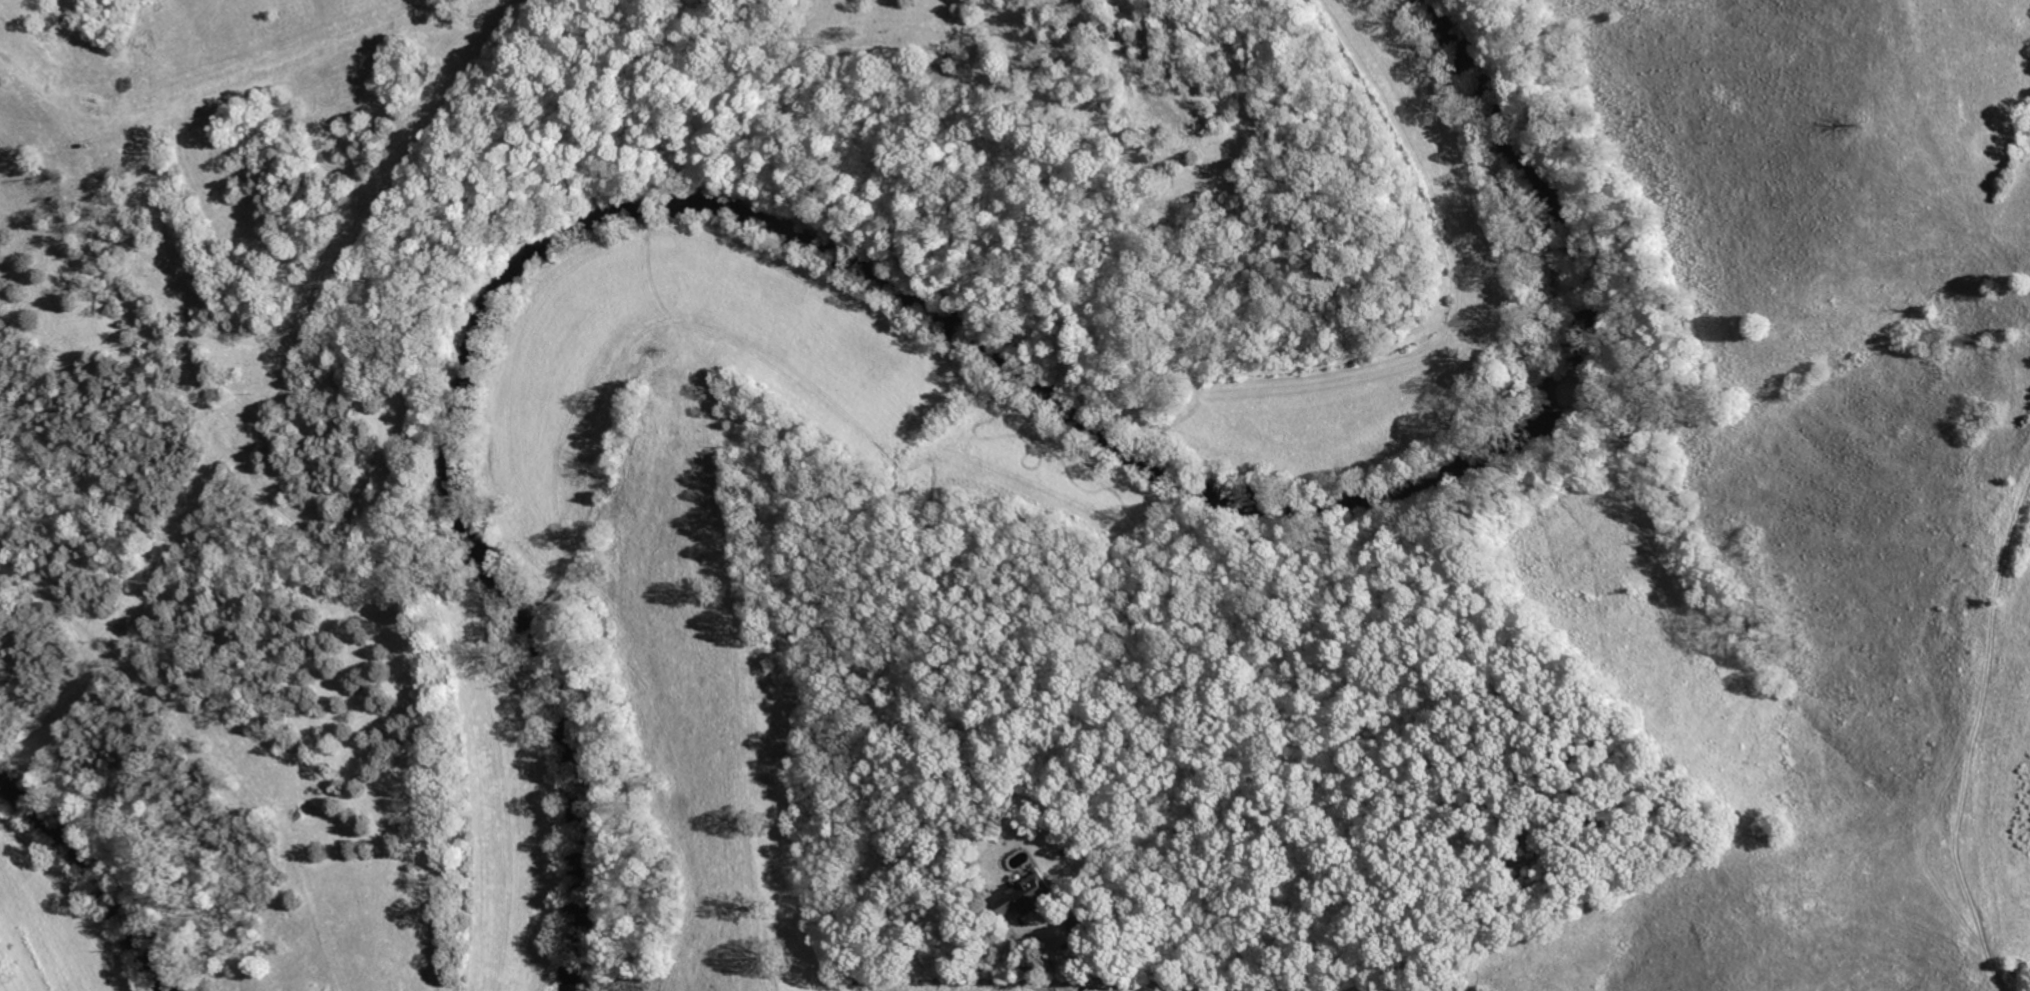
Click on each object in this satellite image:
building: (1022, 896)
road: (1061, 972)

